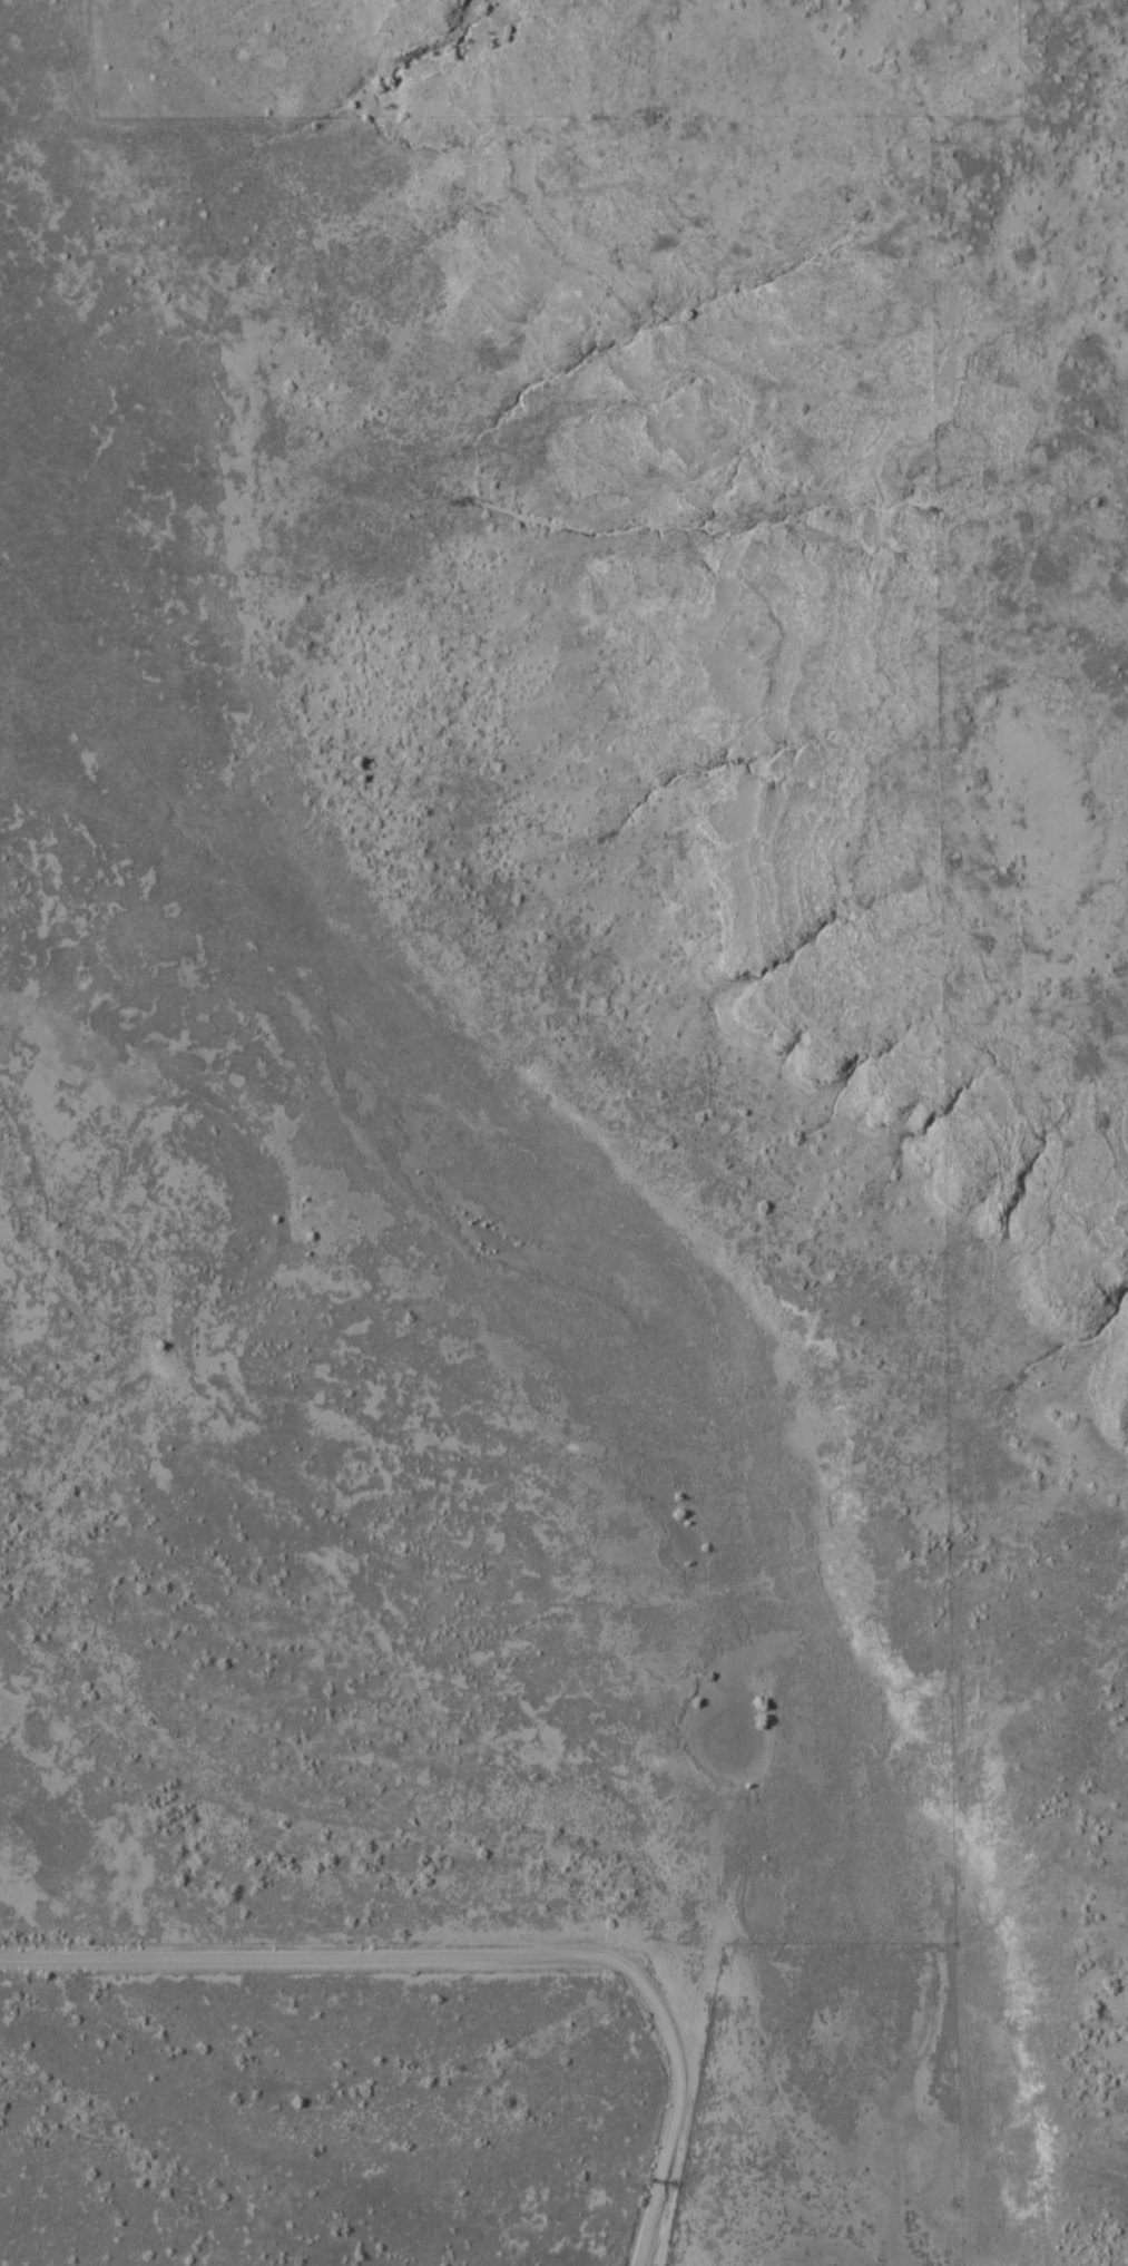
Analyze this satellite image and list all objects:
road: (472, 1955)

